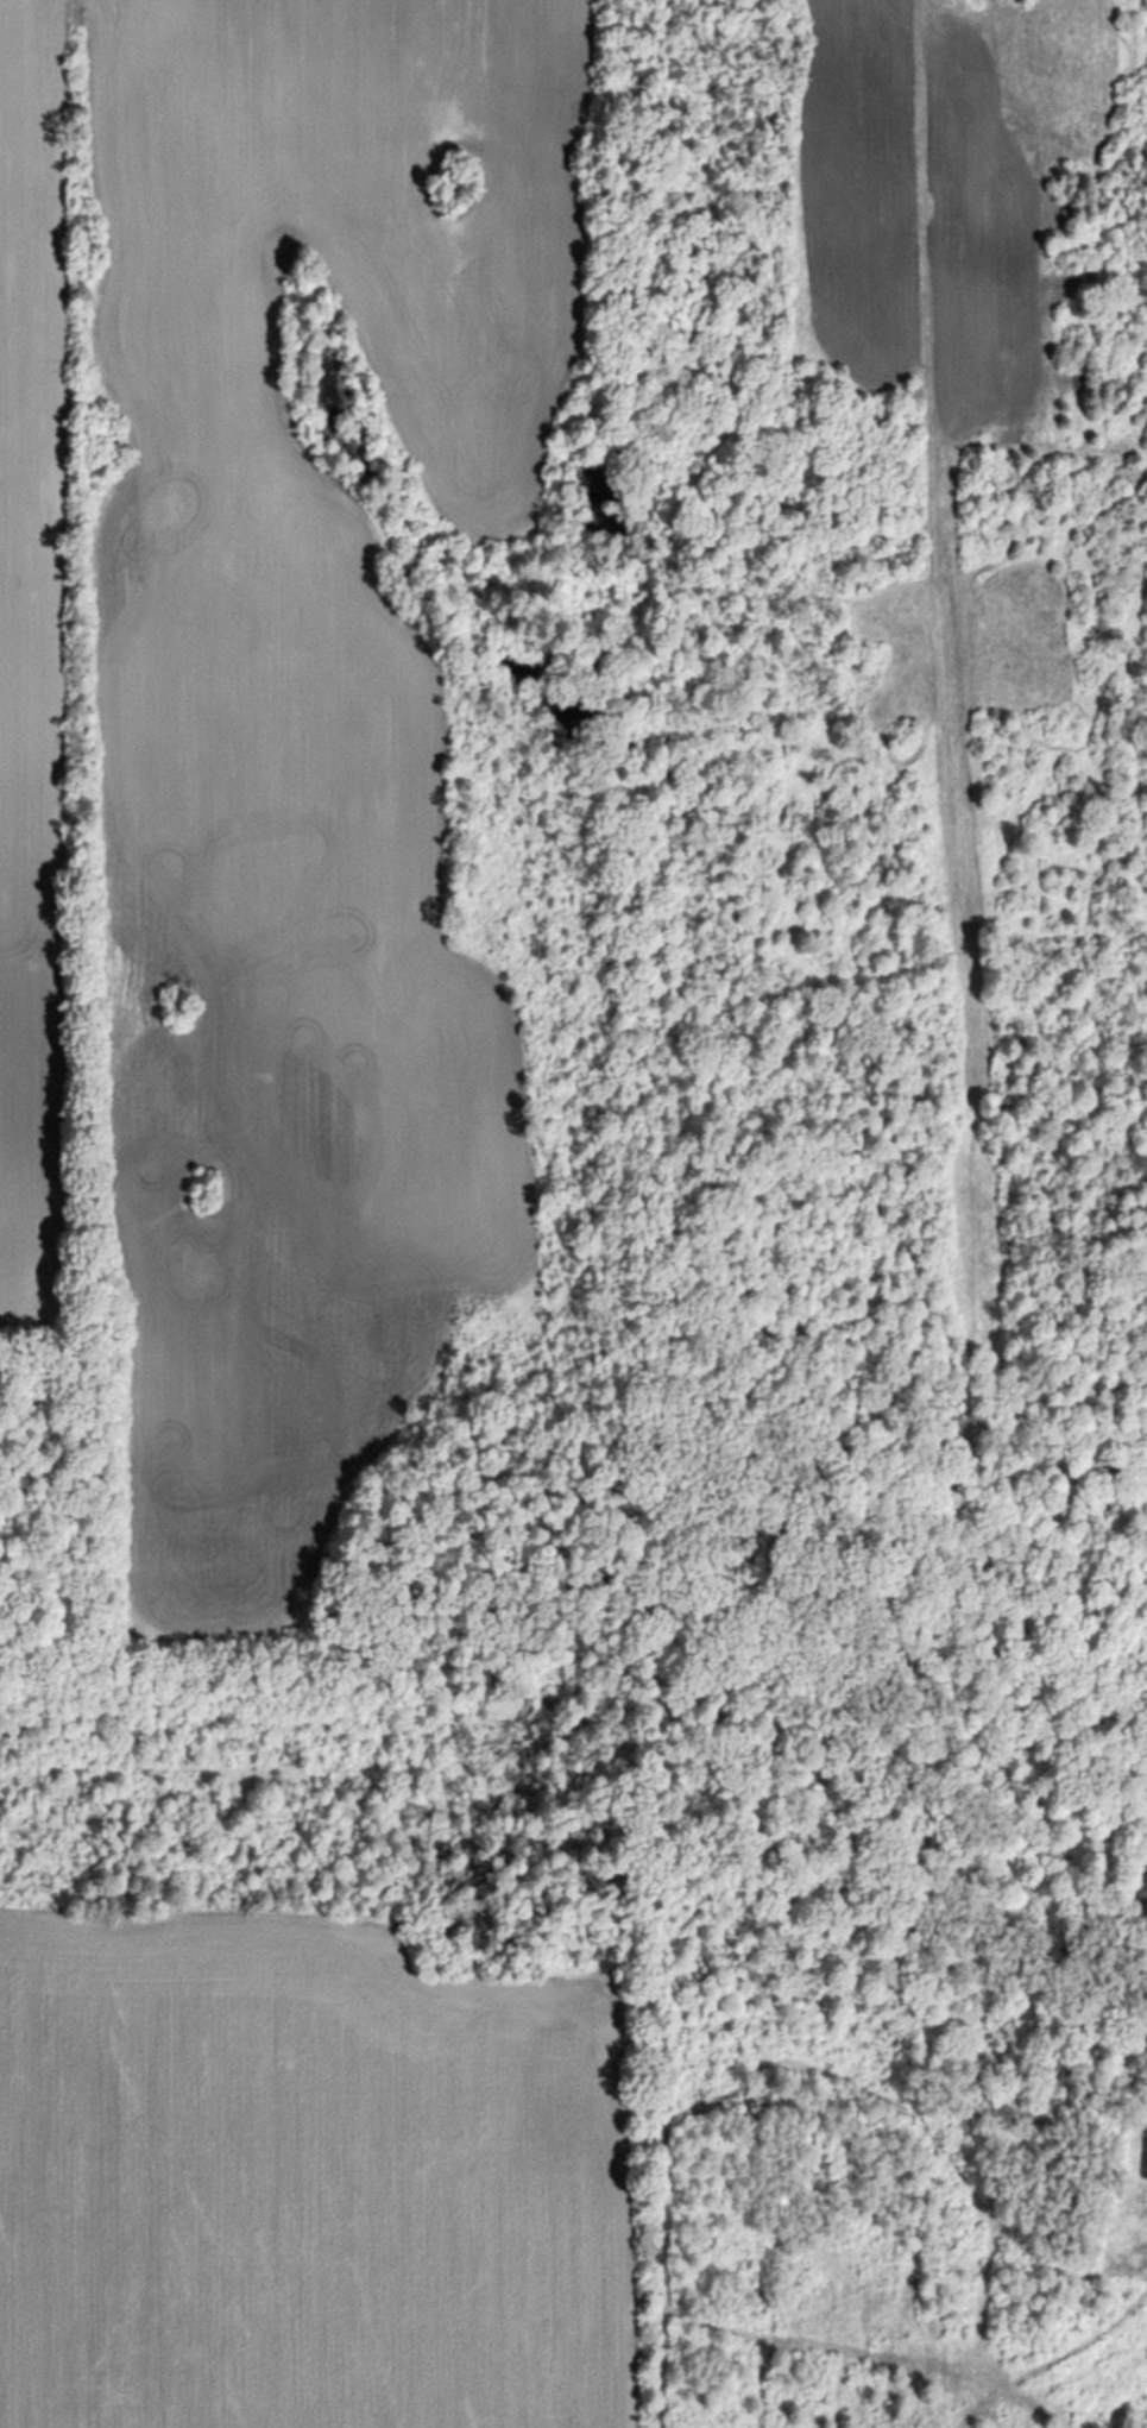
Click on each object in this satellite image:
building: (1145, 2156)

